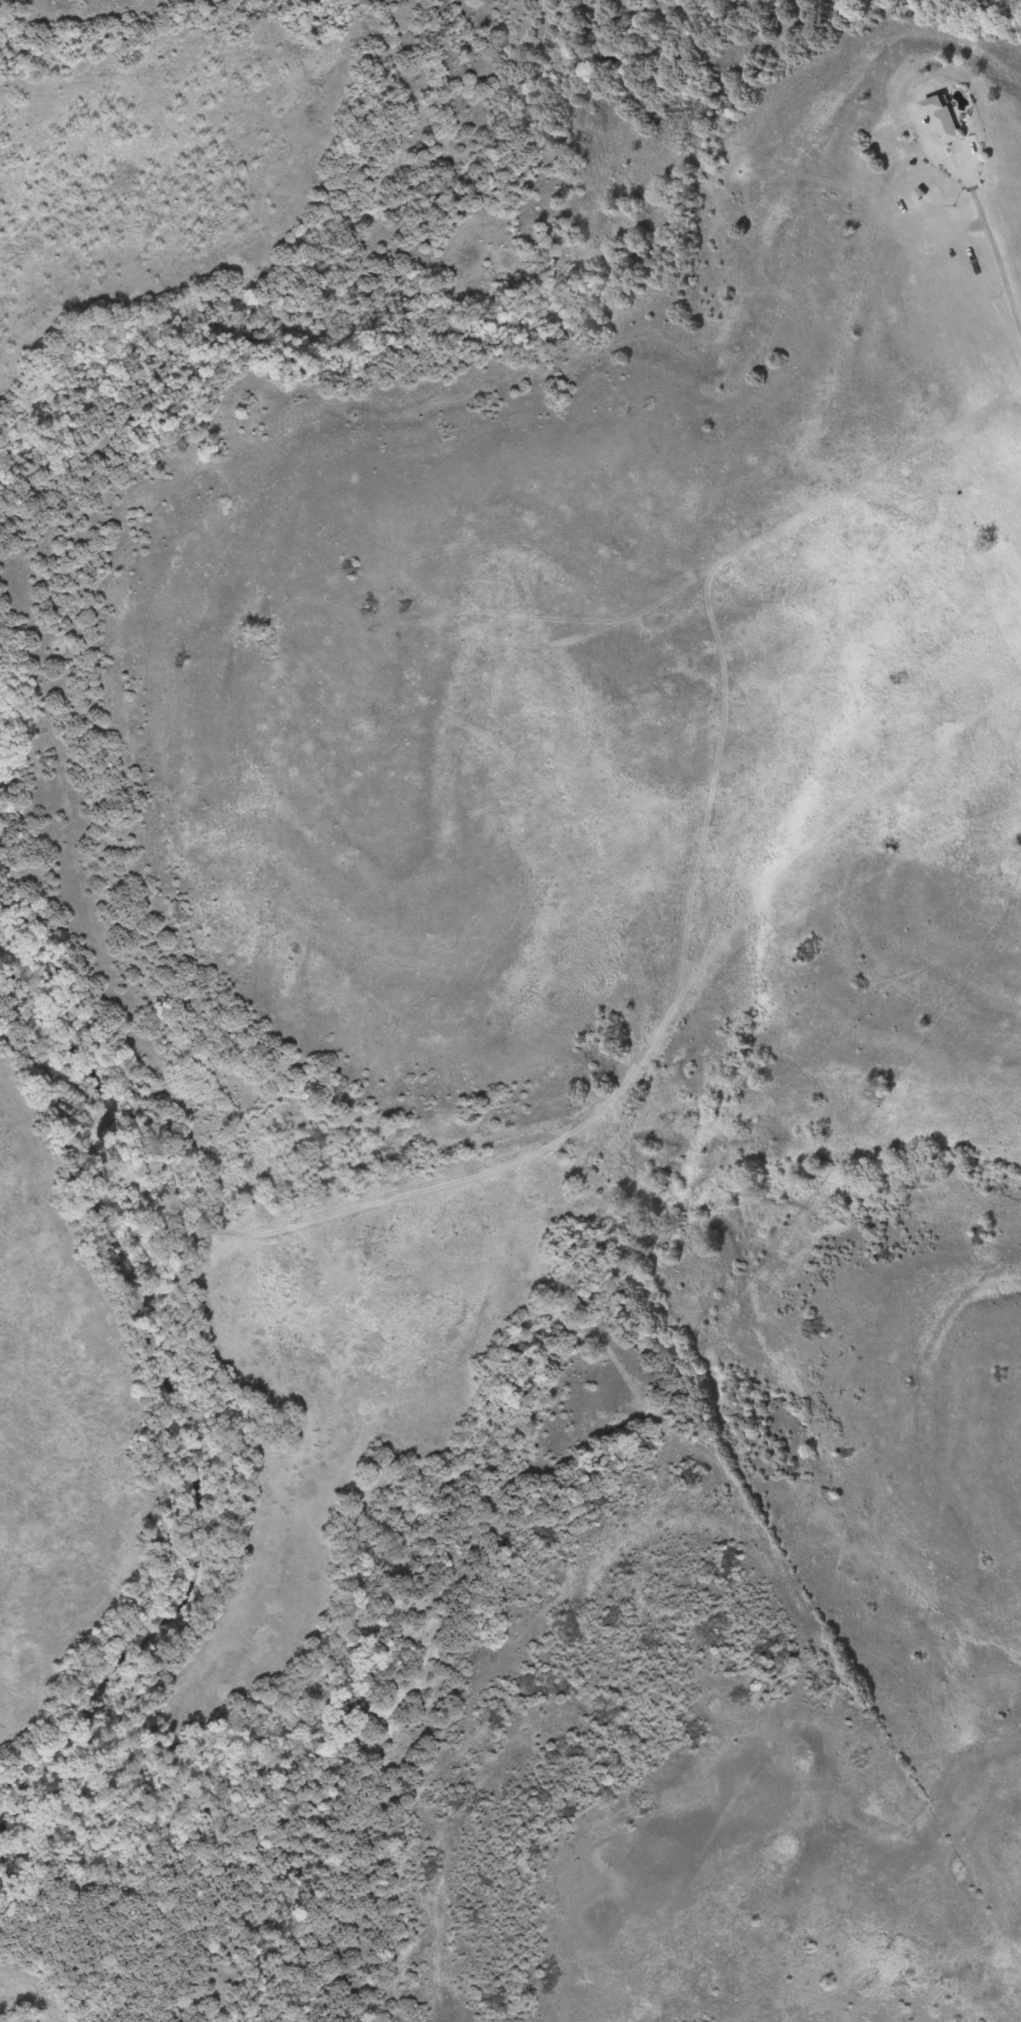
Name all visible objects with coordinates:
building: (935, 120)
road: (987, 244)

